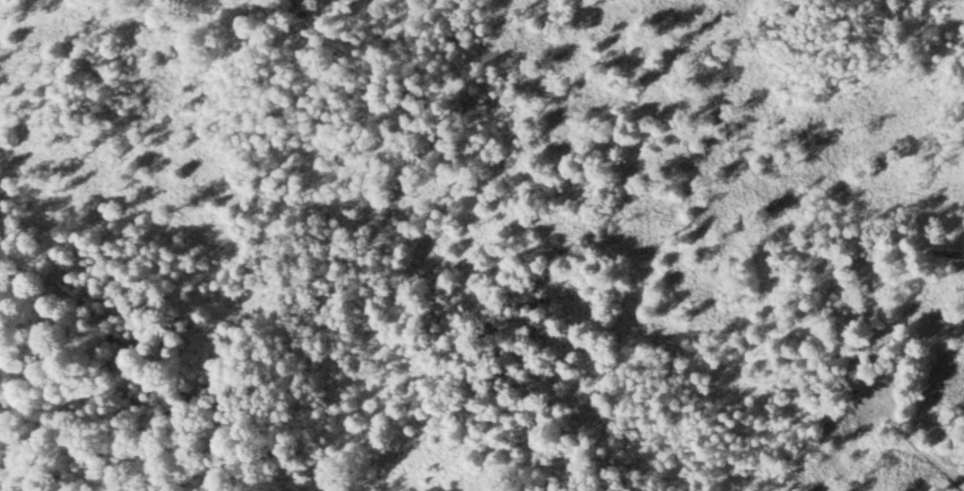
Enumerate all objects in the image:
building: (844, 262)
building: (866, 365)

